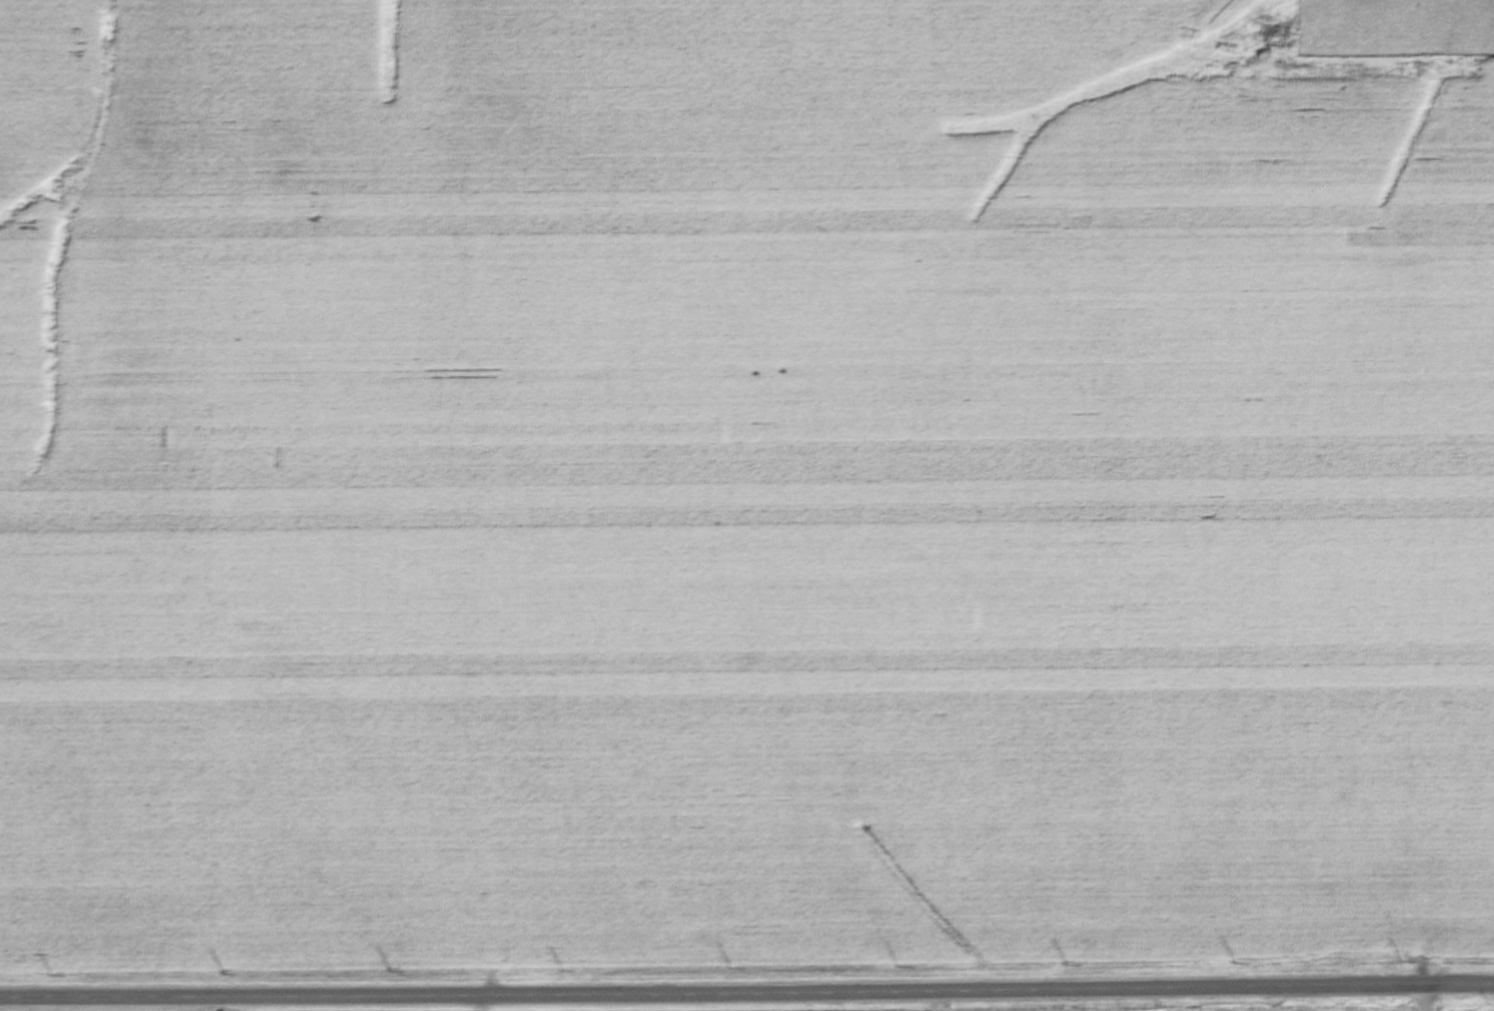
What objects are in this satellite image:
road: (747, 983)

